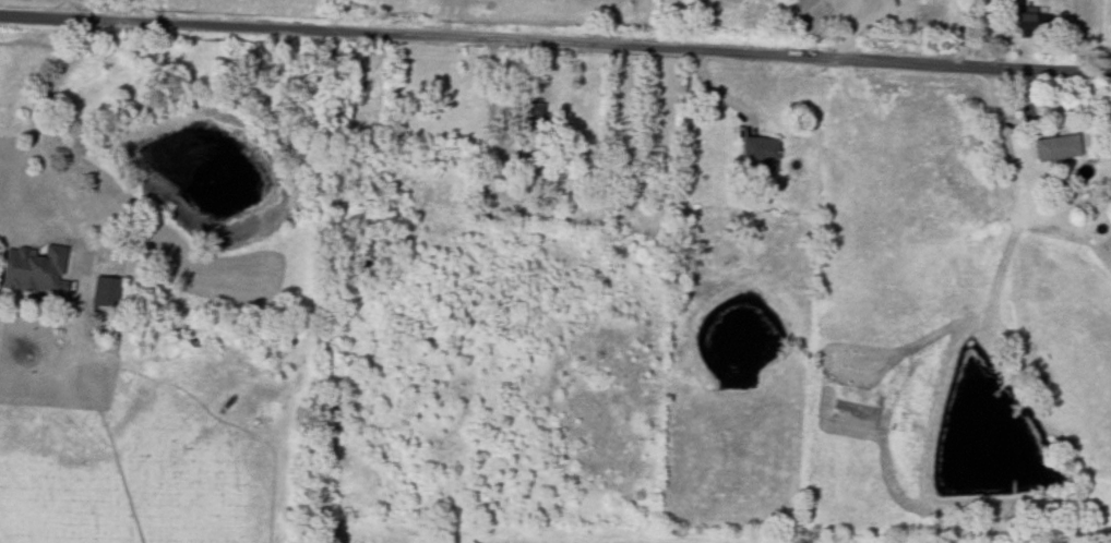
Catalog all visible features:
building: (1031, 16)
road: (555, 37)
road: (491, 95)
road: (35, 125)
building: (1055, 147)
building: (757, 148)
building: (35, 269)
building: (104, 291)

